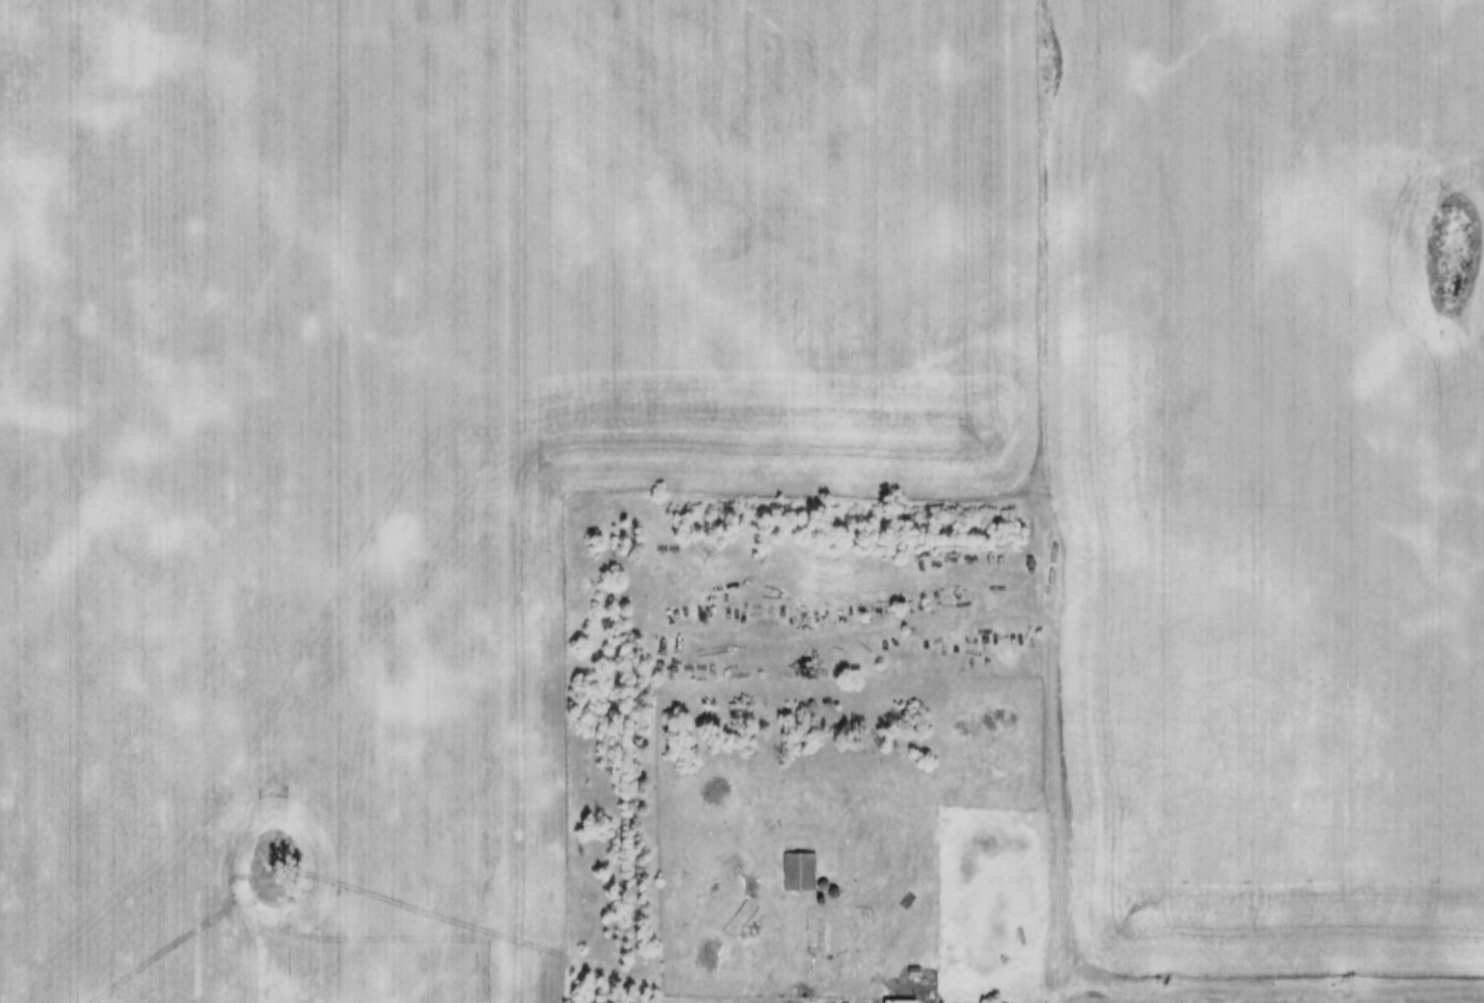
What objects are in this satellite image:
building: (800, 874)
building: (903, 1002)

